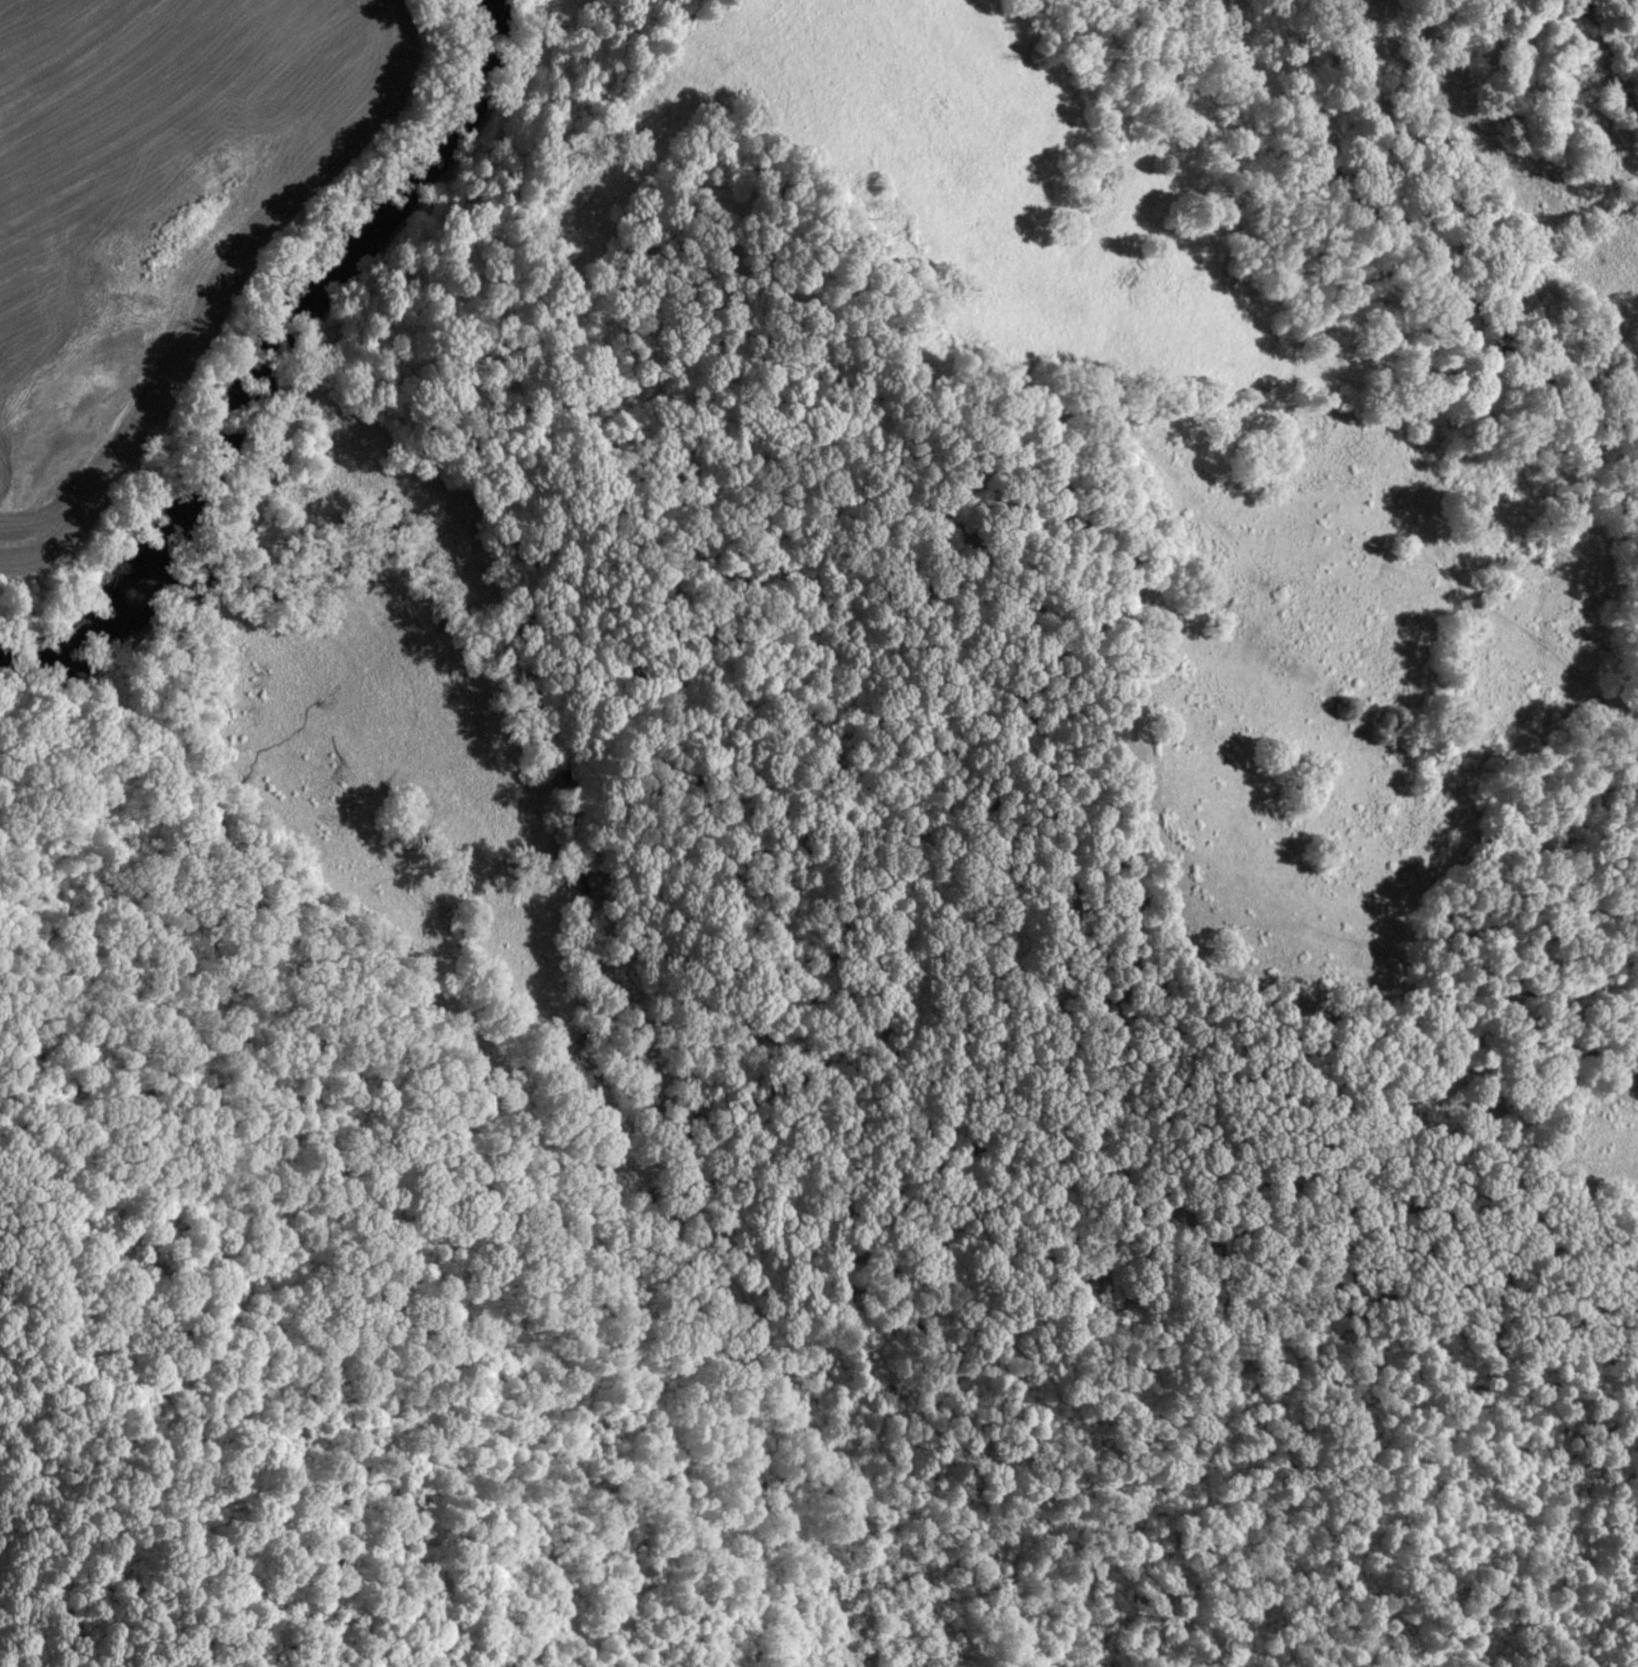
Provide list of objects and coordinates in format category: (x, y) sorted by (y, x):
river: (271, 347)

